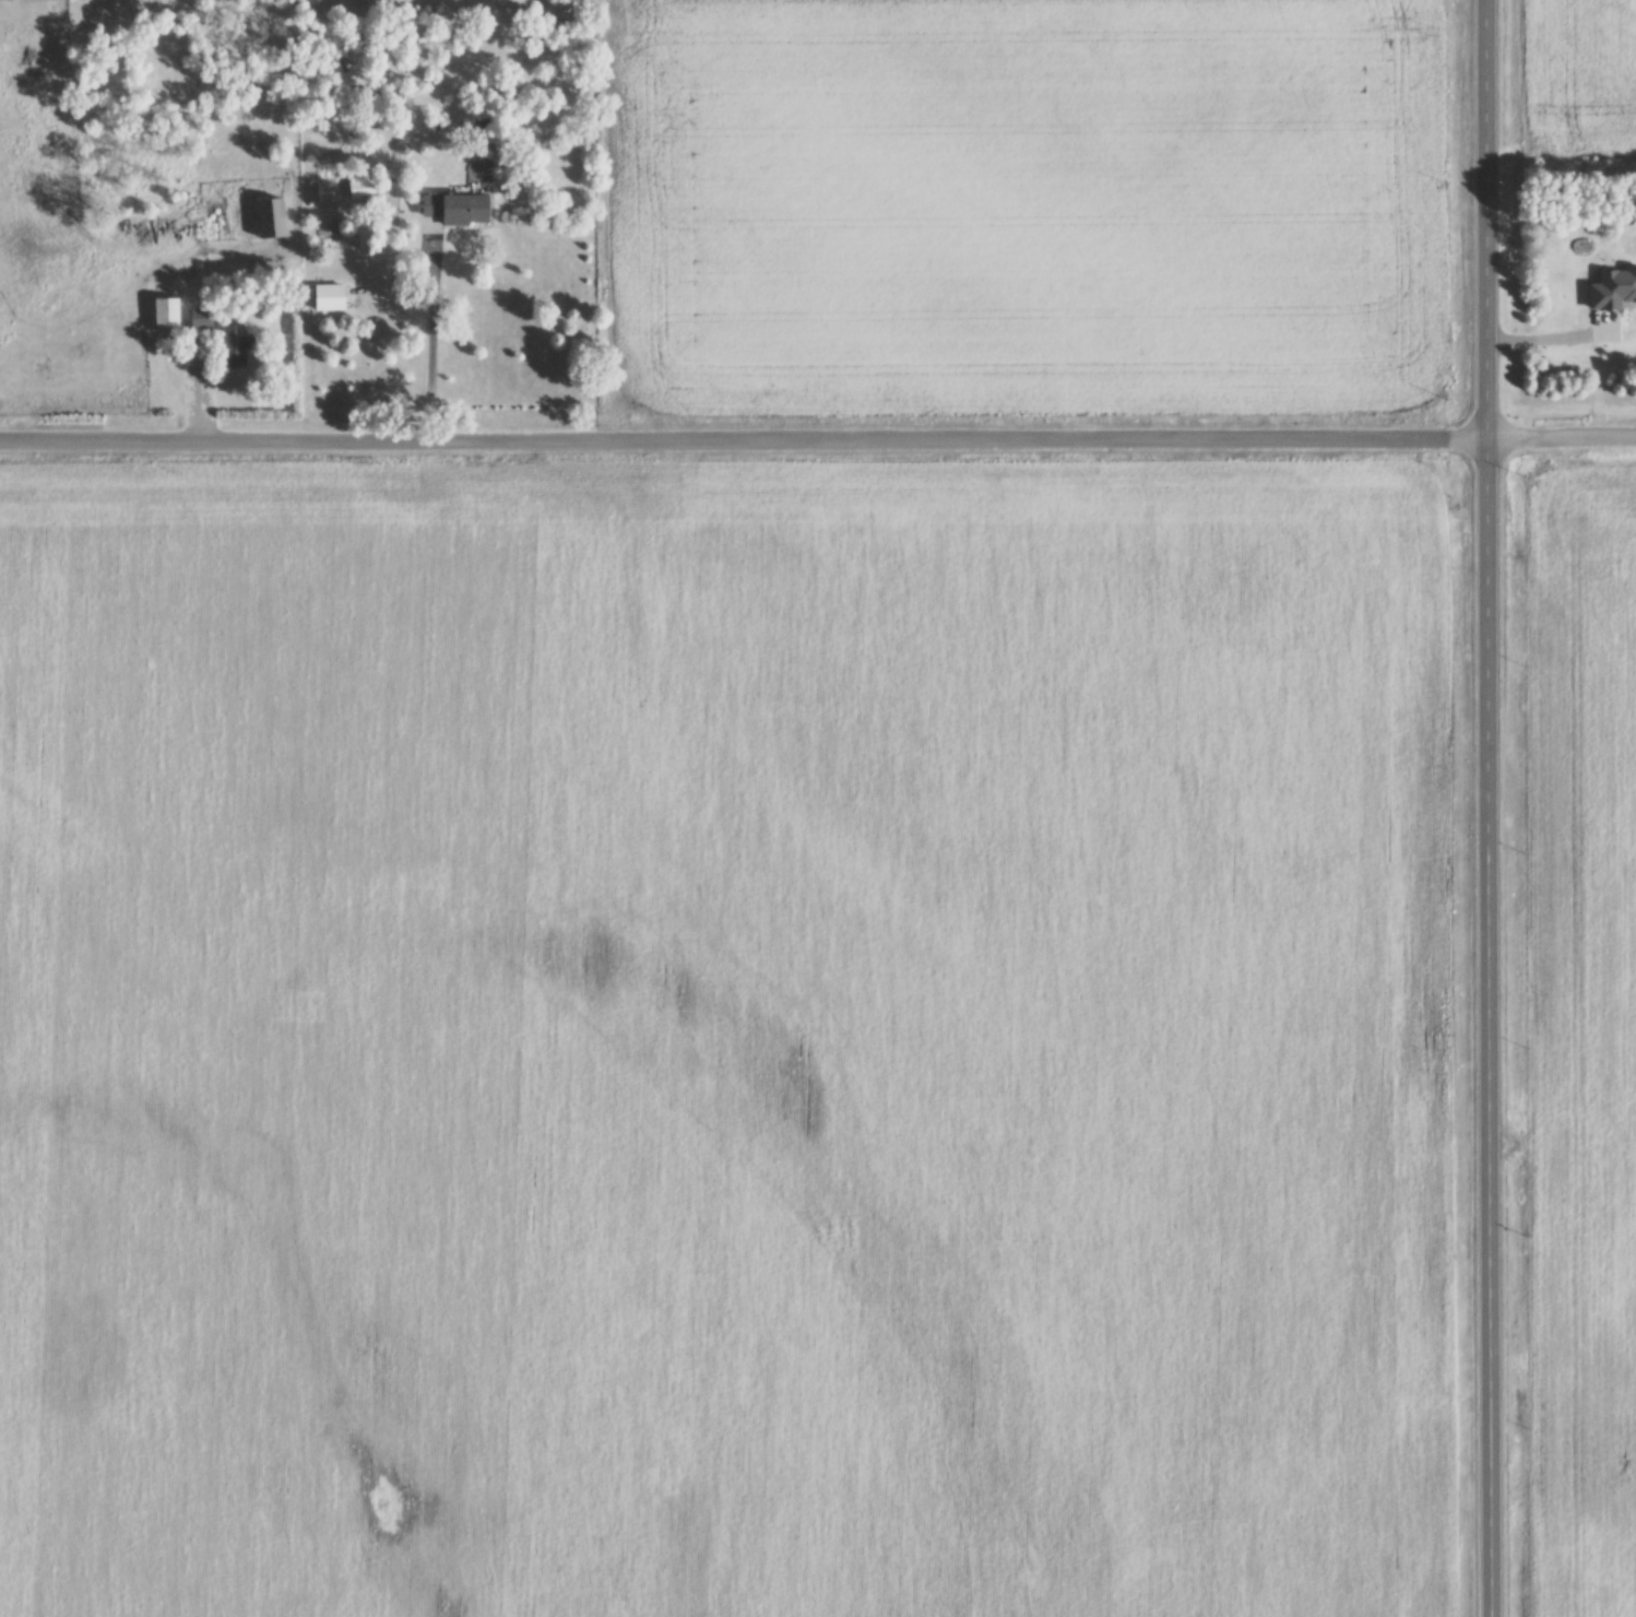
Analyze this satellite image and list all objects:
building: (361, 191)
building: (457, 211)
building: (265, 222)
building: (1612, 285)
building: (167, 319)
building: (201, 321)
road: (1544, 339)
building: (234, 347)
road: (432, 352)
road: (818, 441)
road: (1483, 809)

